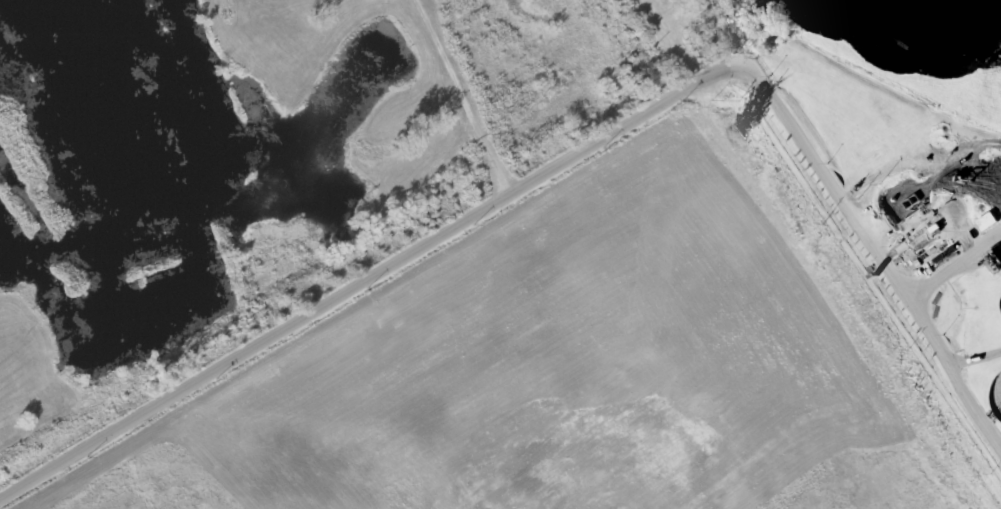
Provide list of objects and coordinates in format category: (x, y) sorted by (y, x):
road: (568, 164)
wastewater plant: (905, 208)
building: (986, 222)

